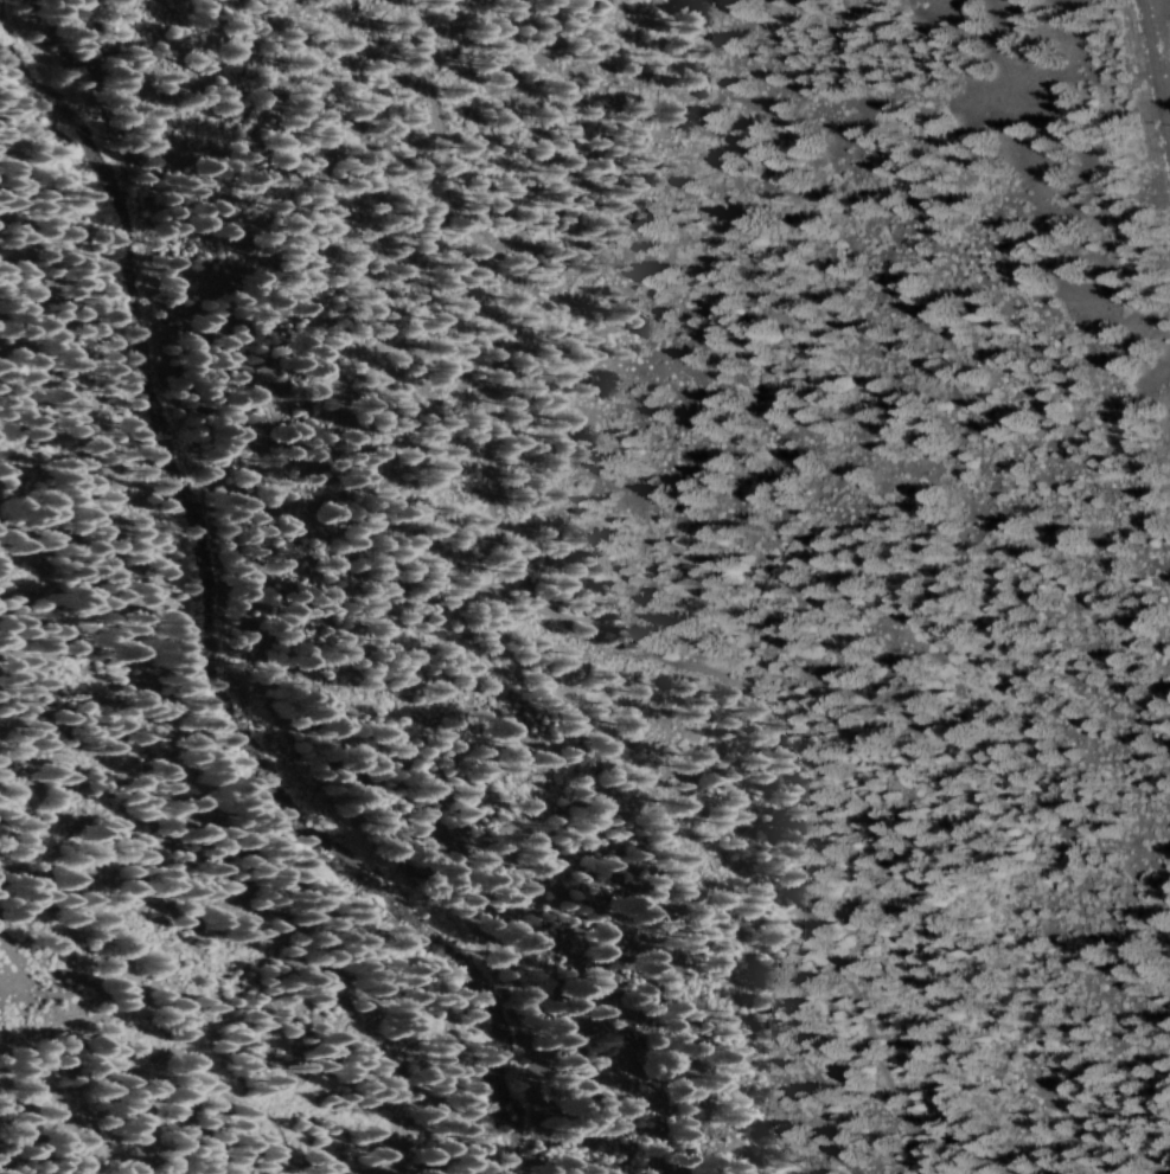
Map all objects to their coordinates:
railway: (1155, 69)
road: (882, 1018)

